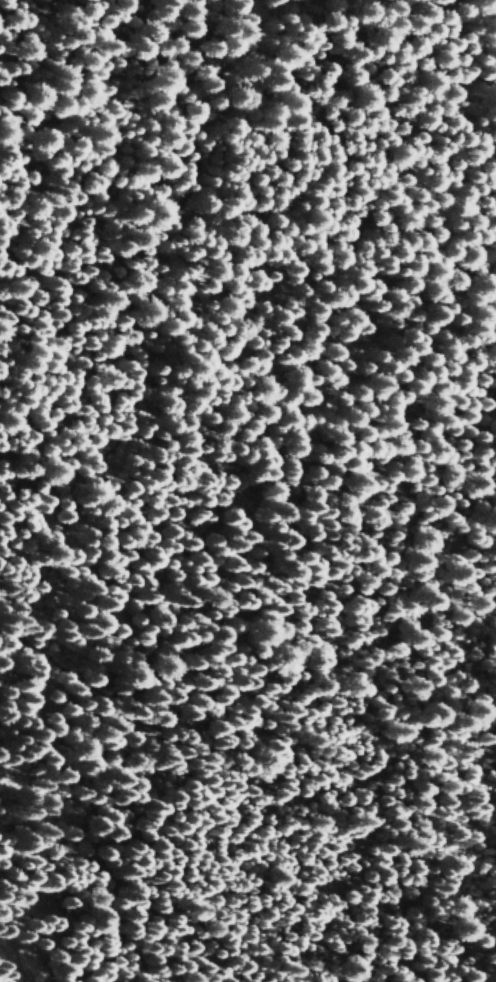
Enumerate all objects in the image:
road: (302, 300)
road: (22, 964)
road: (438, 979)

